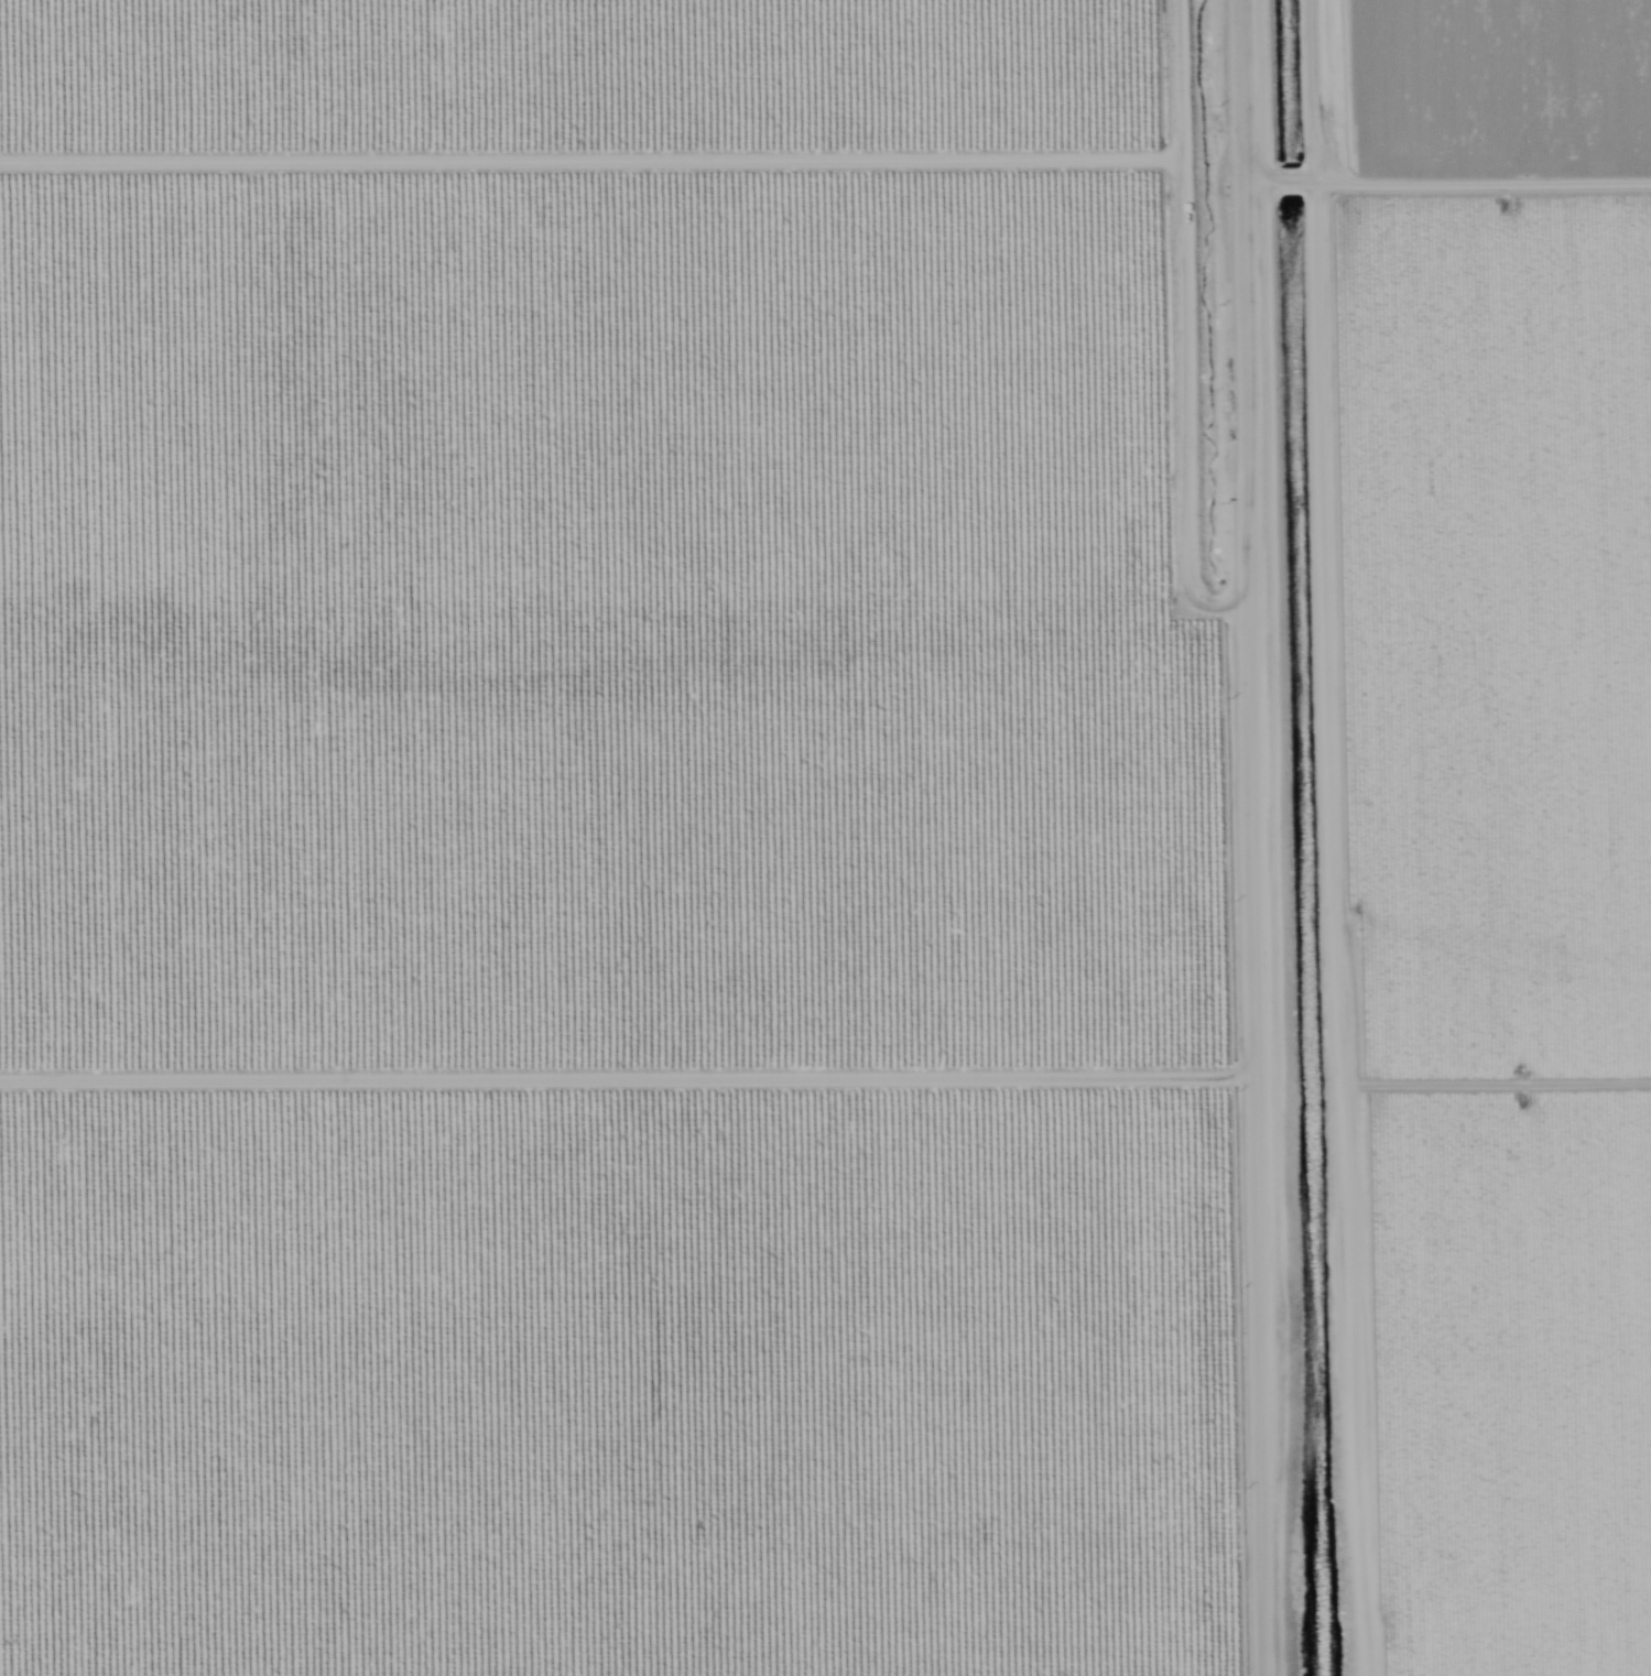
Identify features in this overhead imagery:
crop: (1516, 79)
road: (1321, 92)
road: (1252, 183)
road: (1285, 183)
road: (1313, 184)
road: (1487, 184)
road: (1243, 838)
crop: (1507, 922)
road: (1335, 930)

